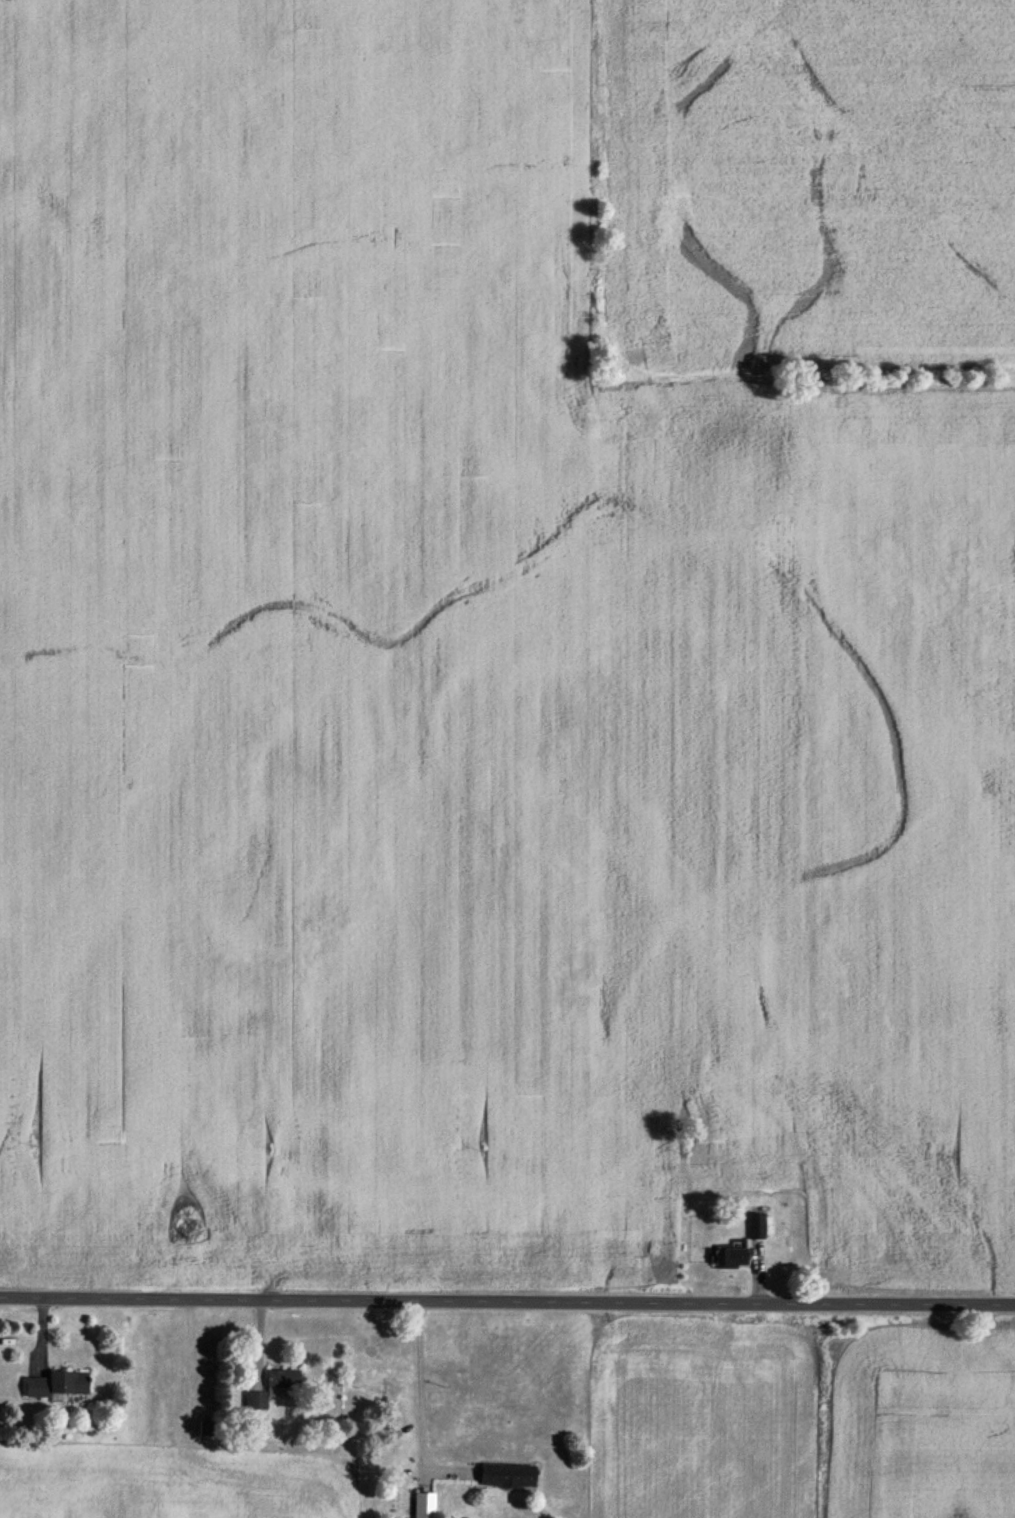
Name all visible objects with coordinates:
building: (754, 1225)
building: (727, 1260)
road: (507, 1301)
building: (280, 1383)
building: (55, 1388)
road: (418, 1389)
building: (253, 1405)
building: (504, 1479)
building: (422, 1507)

